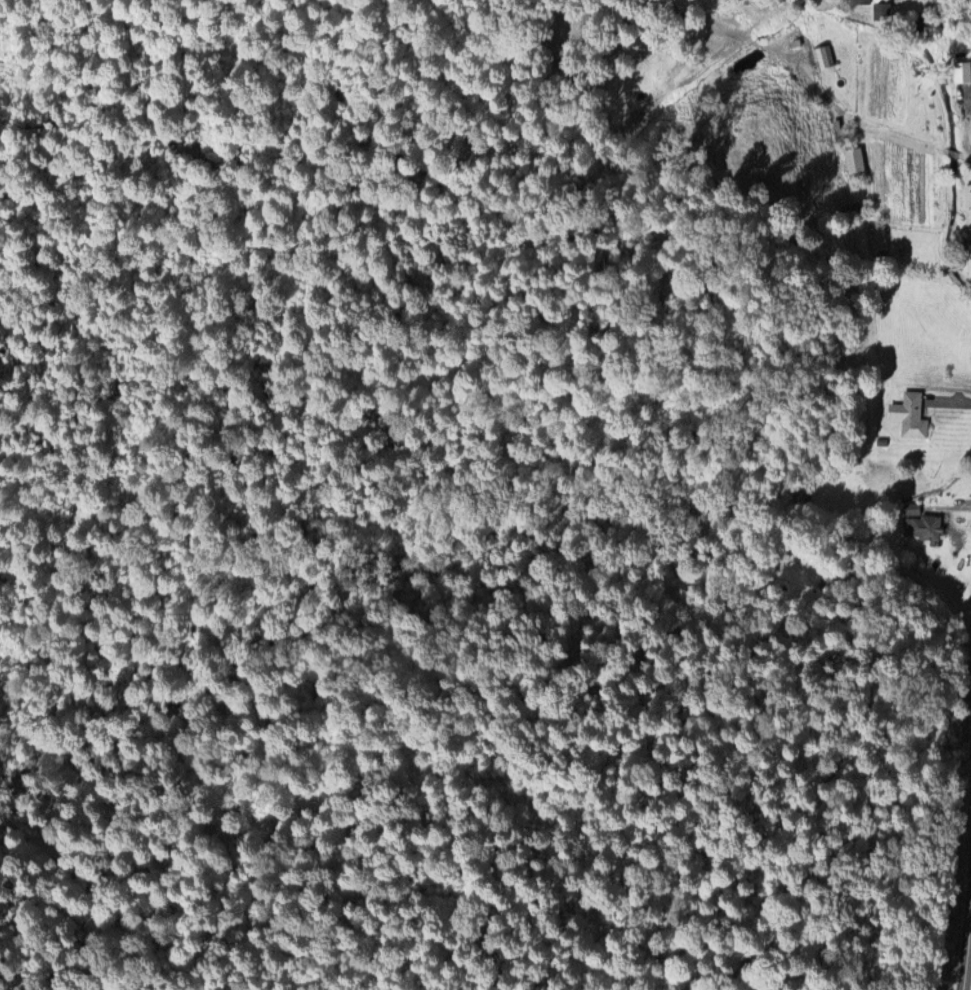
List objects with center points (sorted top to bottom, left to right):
building: (859, 0)
road: (6, 15)
building: (964, 70)
road: (812, 81)
road: (953, 151)
road: (967, 155)
building: (854, 157)
building: (967, 191)
building: (967, 255)
building: (911, 414)
building: (880, 440)
building: (911, 506)
building: (926, 524)
road: (969, 946)

